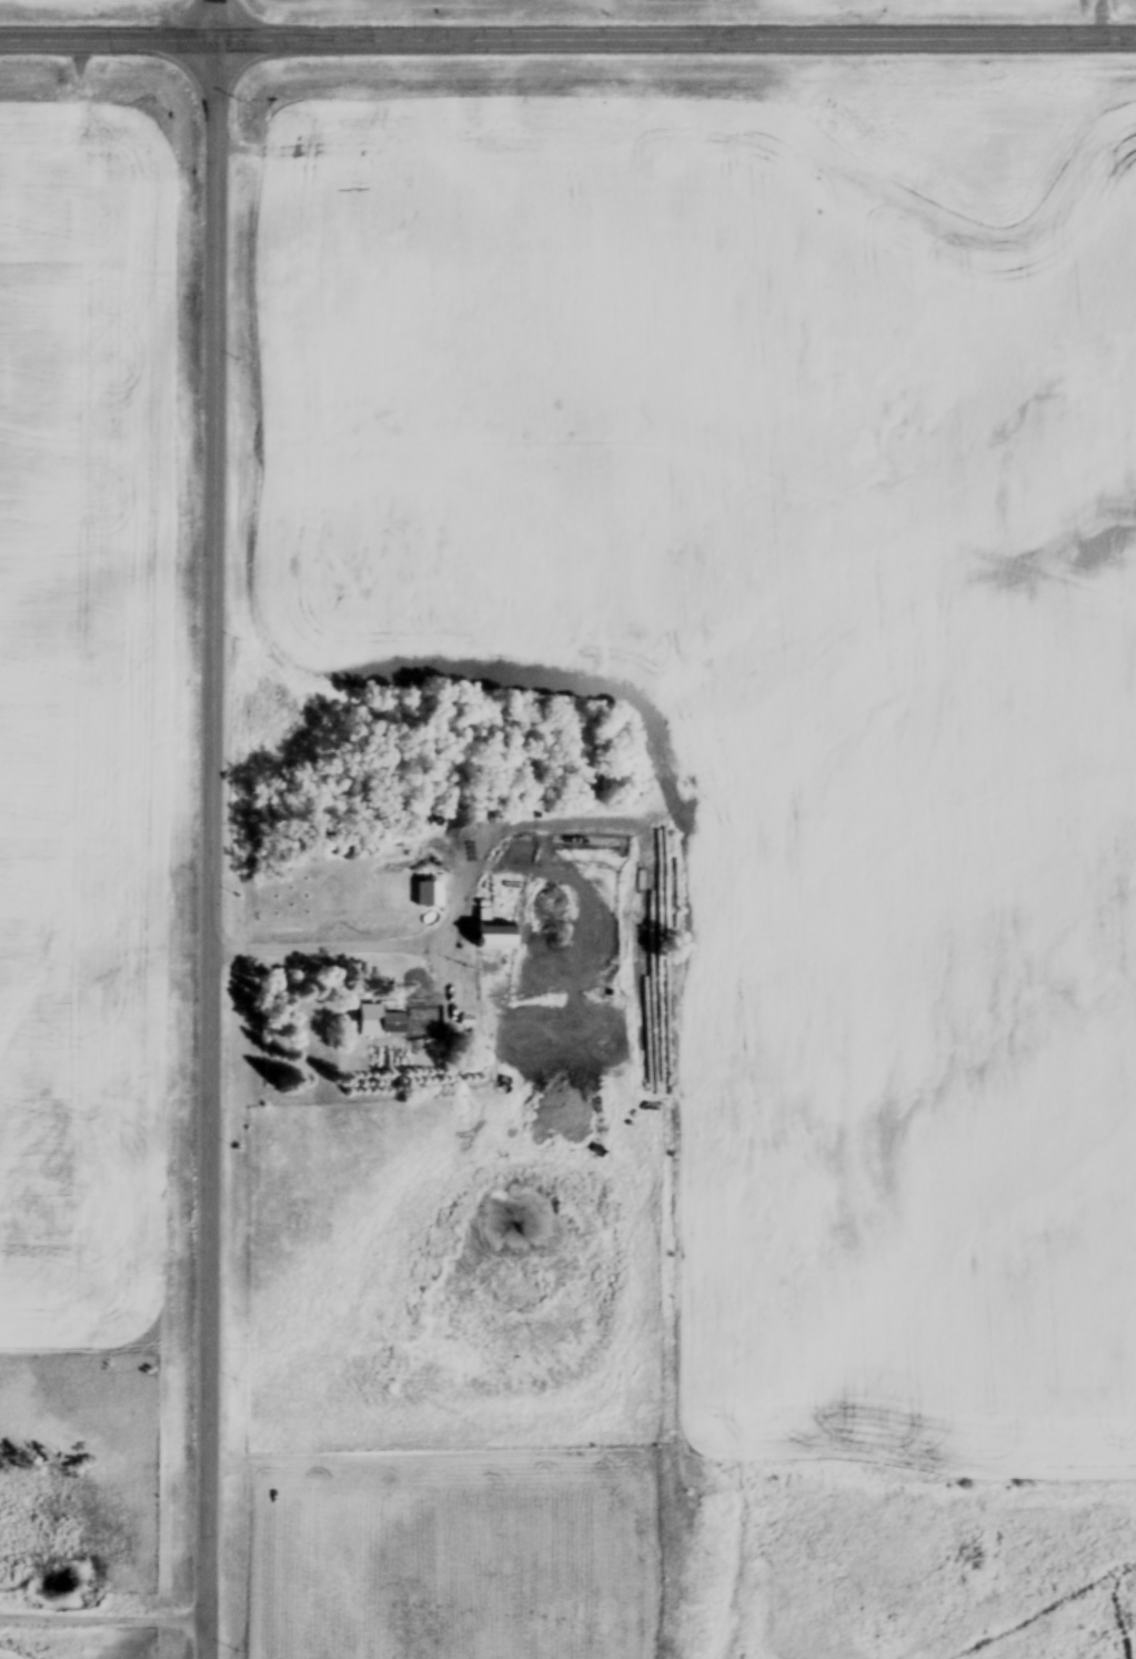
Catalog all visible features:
road: (108, 33)
road: (675, 34)
road: (213, 829)
building: (426, 897)
building: (493, 935)
road: (352, 940)
building: (394, 1025)
road: (104, 1612)
river: (1068, 1619)

